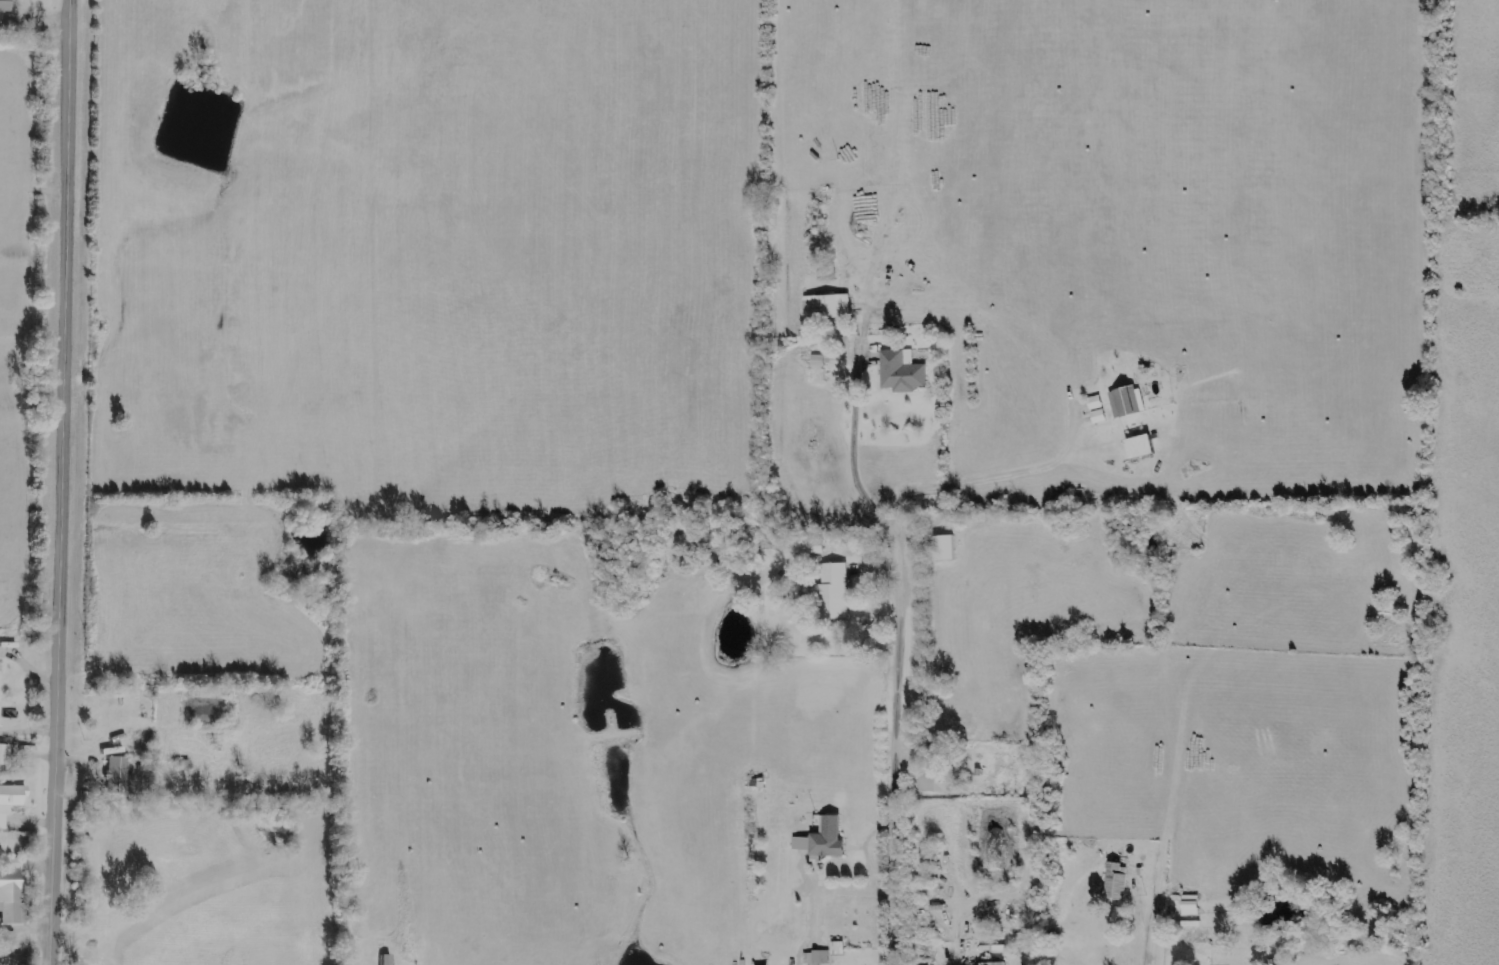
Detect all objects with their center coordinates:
building: (5, 5)
building: (826, 306)
building: (818, 359)
building: (902, 370)
building: (1125, 400)
building: (1097, 408)
building: (1141, 445)
road: (57, 482)
building: (811, 545)
building: (945, 546)
building: (834, 590)
road: (901, 753)
building: (5, 754)
building: (118, 774)
building: (936, 780)
building: (10, 800)
building: (823, 839)
building: (1117, 880)
building: (11, 897)
building: (1023, 939)
building: (819, 956)
building: (386, 959)
building: (995, 963)

